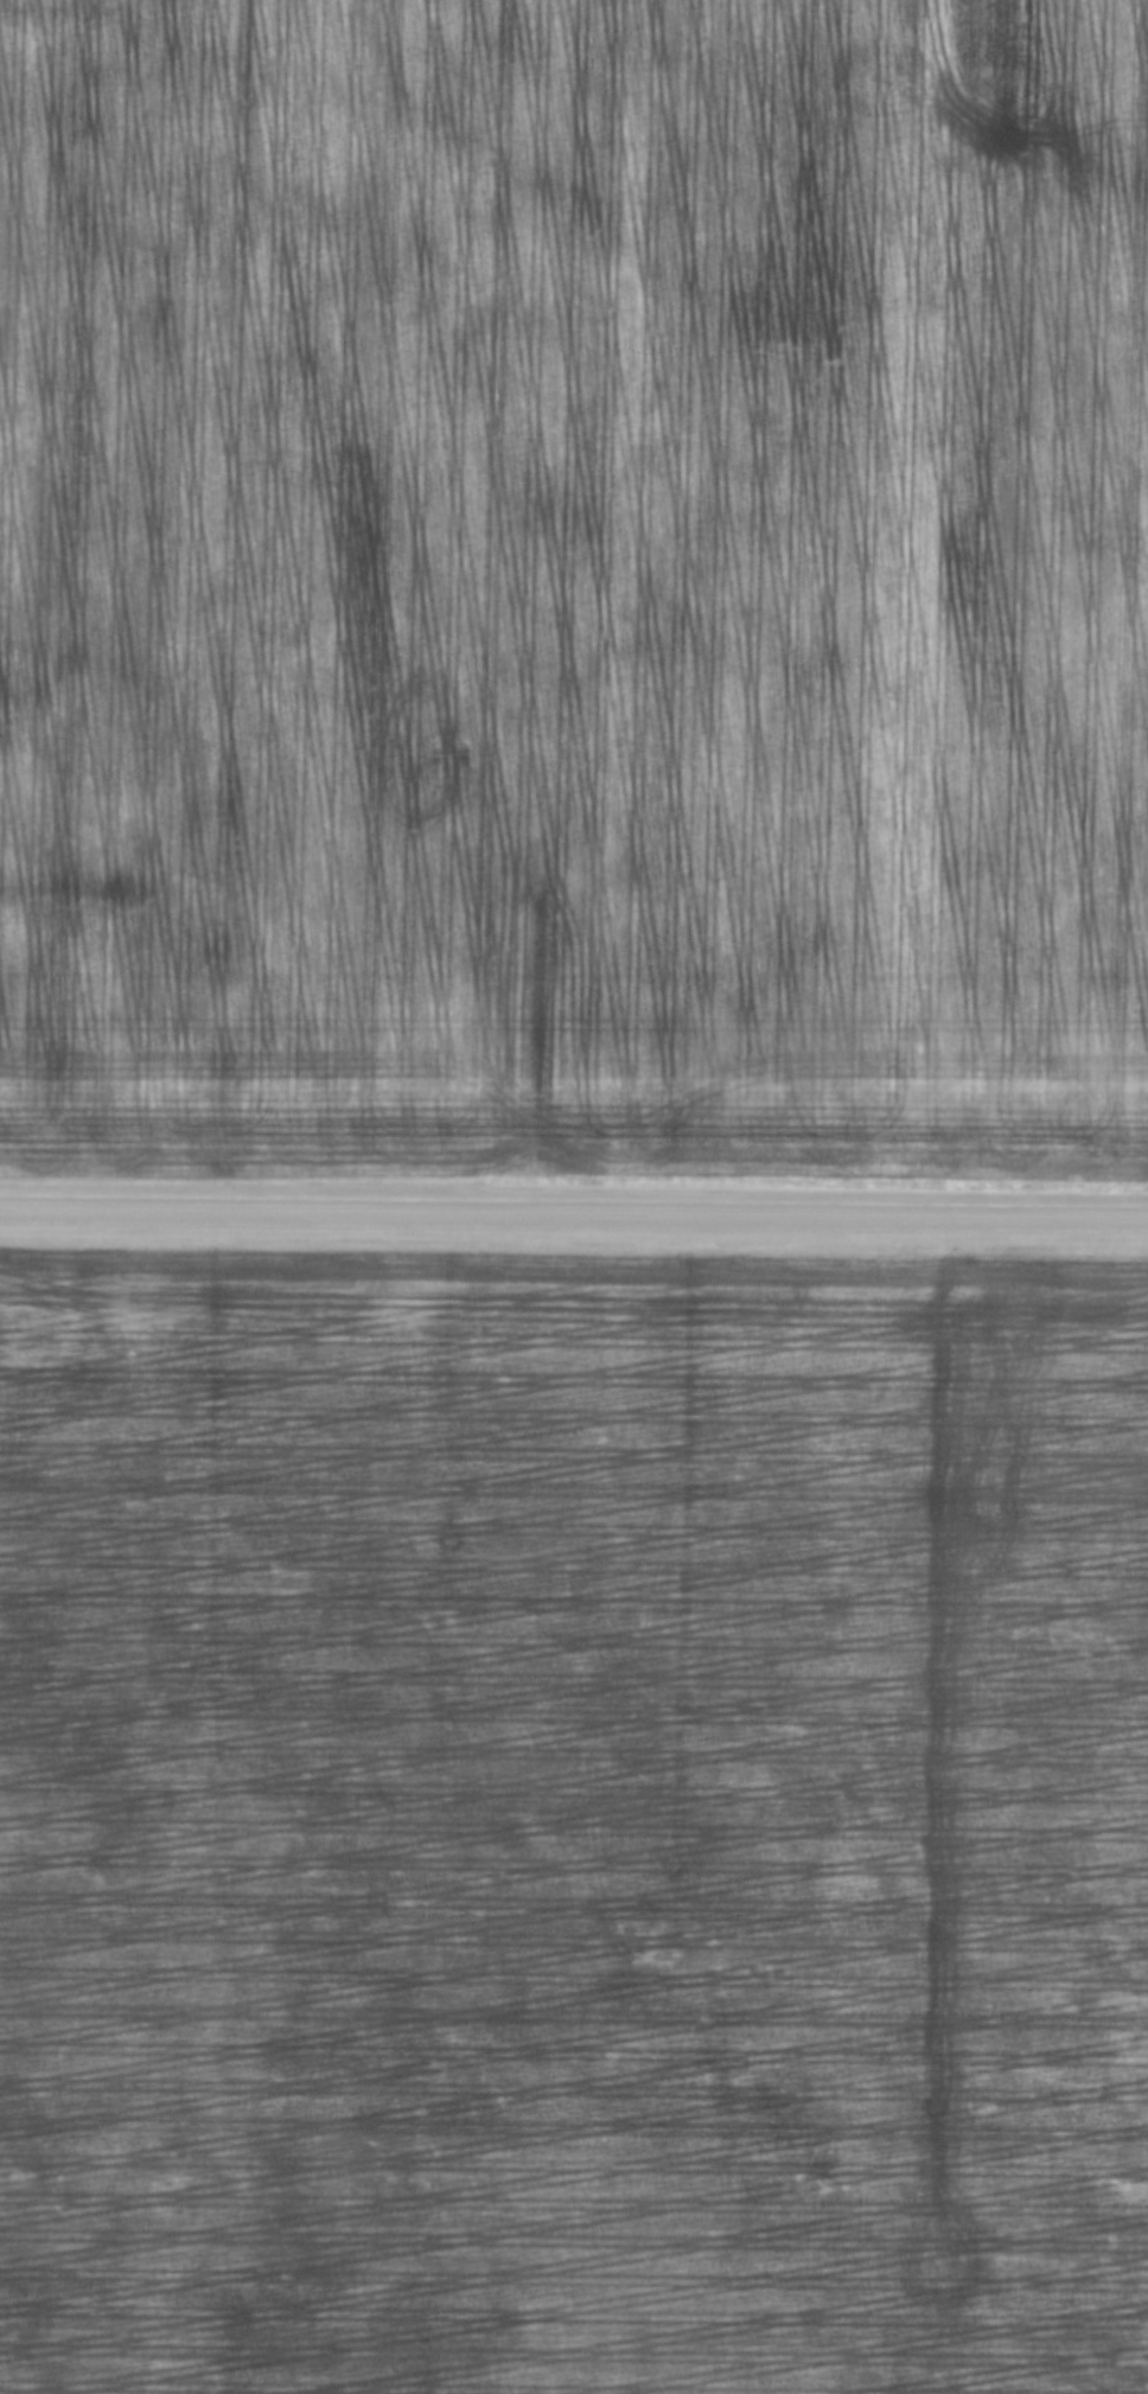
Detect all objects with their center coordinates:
road: (574, 1213)

